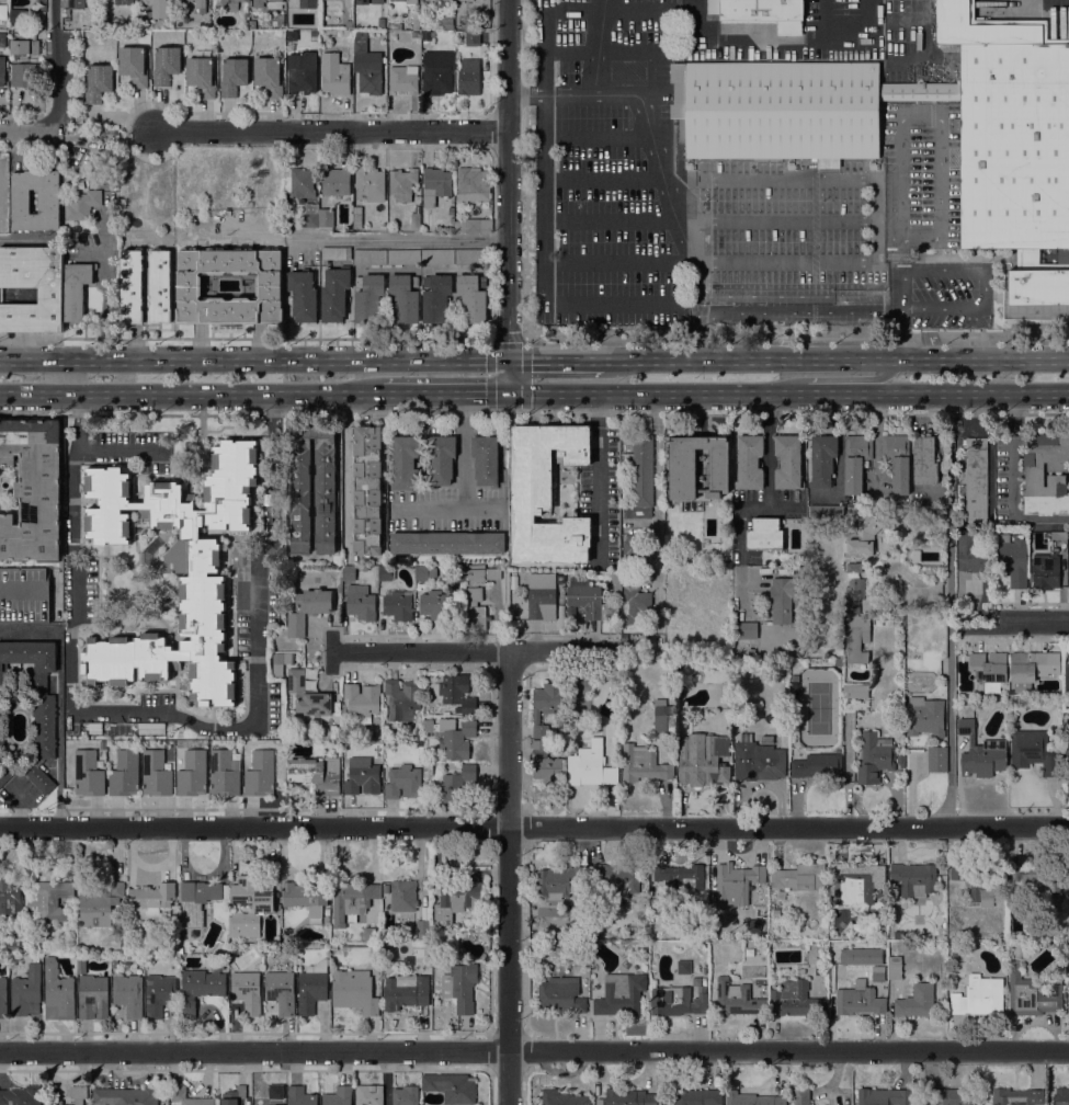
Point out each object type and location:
building: (377, 1)
building: (407, 1)
building: (120, 2)
building: (196, 2)
building: (362, 2)
building: (268, 3)
building: (307, 3)
building: (442, 3)
building: (76, 4)
building: (228, 4)
building: (157, 9)
building: (764, 13)
building: (3, 15)
building: (18, 16)
building: (67, 18)
building: (281, 19)
building: (382, 22)
building: (446, 22)
building: (473, 22)
building: (349, 23)
building: (251, 24)
building: (414, 24)
building: (169, 25)
building: (452, 33)
building: (414, 34)
building: (473, 37)
building: (2, 39)
road: (598, 45)
building: (24, 46)
building: (361, 46)
building: (166, 65)
building: (134, 66)
road: (56, 67)
building: (2, 70)
building: (302, 72)
building: (439, 73)
building: (23, 75)
building: (336, 75)
building: (201, 76)
building: (234, 76)
building: (269, 77)
building: (469, 77)
building: (371, 79)
building: (403, 79)
building: (99, 82)
road: (520, 92)
road: (903, 117)
road: (331, 132)
road: (27, 133)
building: (115, 143)
building: (782, 145)
road: (656, 147)
building: (336, 181)
building: (300, 182)
building: (369, 184)
building: (401, 184)
building: (473, 184)
building: (435, 185)
building: (2, 190)
road: (507, 195)
building: (48, 201)
building: (82, 205)
building: (451, 210)
building: (310, 215)
building: (326, 217)
building: (357, 217)
building: (416, 221)
building: (3, 226)
building: (474, 226)
road: (403, 239)
road: (109, 248)
building: (336, 253)
building: (369, 257)
building: (403, 257)
building: (437, 257)
building: (468, 257)
road: (856, 262)
road: (544, 264)
building: (258, 285)
building: (146, 286)
building: (201, 286)
road: (983, 287)
building: (77, 289)
building: (334, 294)
building: (50, 296)
building: (303, 296)
building: (368, 297)
building: (405, 297)
building: (435, 297)
building: (473, 297)
road: (689, 297)
road: (697, 306)
road: (798, 311)
road: (697, 335)
road: (899, 335)
road: (244, 338)
road: (507, 338)
road: (796, 338)
traffic signals: (508, 360)
road: (556, 360)
road: (835, 360)
road: (253, 361)
road: (864, 377)
road: (948, 391)
traffic signals: (509, 392)
road: (657, 392)
road: (818, 392)
road: (192, 394)
road: (446, 394)
road: (534, 412)
road: (123, 449)
building: (442, 459)
building: (486, 459)
building: (823, 459)
building: (856, 460)
building: (898, 460)
building: (924, 460)
building: (406, 463)
building: (749, 463)
building: (788, 463)
building: (698, 467)
road: (343, 468)
road: (599, 474)
building: (641, 477)
building: (976, 478)
road: (1012, 479)
building: (1034, 480)
road: (460, 483)
road: (770, 488)
building: (32, 490)
building: (302, 490)
building: (367, 490)
building: (547, 494)
road: (656, 497)
road: (949, 498)
road: (780, 504)
road: (481, 511)
building: (827, 511)
building: (1051, 532)
building: (765, 534)
building: (864, 536)
building: (447, 543)
building: (635, 548)
building: (970, 552)
building: (1013, 560)
building: (507, 568)
building: (803, 570)
building: (177, 571)
building: (1046, 571)
building: (386, 572)
building: (349, 573)
building: (422, 573)
building: (615, 582)
building: (455, 586)
building: (854, 588)
building: (523, 590)
building: (477, 594)
building: (24, 595)
building: (542, 596)
building: (584, 597)
building: (785, 597)
building: (636, 599)
building: (361, 603)
building: (398, 604)
building: (435, 604)
building: (308, 608)
building: (799, 613)
building: (610, 614)
road: (1015, 620)
building: (747, 630)
building: (857, 638)
road: (421, 654)
road: (568, 654)
building: (282, 658)
building: (839, 662)
building: (990, 665)
building: (1033, 667)
building: (1067, 677)
building: (595, 690)
building: (456, 692)
building: (856, 692)
building: (308, 695)
building: (402, 697)
building: (363, 699)
building: (546, 705)
road: (92, 711)
building: (925, 717)
building: (664, 719)
road: (951, 725)
building: (429, 726)
building: (45, 727)
building: (456, 739)
building: (419, 743)
building: (541, 743)
building: (1033, 751)
building: (981, 752)
building: (1067, 753)
building: (876, 757)
building: (900, 759)
building: (935, 759)
building: (704, 760)
building: (759, 761)
building: (644, 764)
building: (591, 765)
building: (819, 766)
building: (428, 767)
building: (548, 770)
building: (125, 773)
building: (225, 773)
building: (260, 773)
building: (89, 774)
building: (156, 774)
building: (193, 774)
building: (317, 774)
building: (363, 777)
building: (403, 782)
building: (456, 783)
road: (534, 829)
building: (800, 876)
building: (680, 877)
building: (1032, 878)
road: (511, 879)
building: (617, 879)
building: (914, 879)
building: (980, 880)
building: (559, 881)
building: (856, 882)
building: (736, 884)
building: (1068, 886)
building: (253, 893)
building: (403, 896)
building: (10, 897)
building: (152, 897)
building: (306, 899)
building: (458, 899)
building: (49, 900)
building: (351, 900)
building: (197, 901)
building: (100, 904)
building: (327, 911)
building: (327, 921)
building: (246, 925)
building: (578, 927)
building: (423, 930)
building: (372, 934)
building: (900, 935)
building: (484, 936)
building: (14, 945)
building: (333, 946)
building: (123, 950)
building: (435, 952)
building: (956, 955)
building: (860, 956)
building: (408, 960)
building: (81, 965)
building: (683, 966)
building: (894, 967)
building: (801, 970)
building: (311, 987)
building: (460, 987)
building: (200, 988)
building: (353, 990)
building: (247, 991)
building: (281, 991)
building: (406, 991)
building: (26, 992)
building: (58, 993)
building: (129, 994)
building: (159, 994)
building: (560, 994)
building: (621, 994)
building: (1033, 995)
building: (2, 996)
building: (93, 996)
building: (978, 996)
building: (737, 999)
building: (793, 999)
building: (857, 1000)
building: (675, 1001)
building: (916, 1001)
building: (1068, 1005)
road: (534, 1051)
building: (452, 1087)
building: (275, 1092)
building: (79, 1094)
building: (368, 1095)
building: (405, 1095)
building: (21, 1096)
building: (125, 1096)
building: (234, 1096)
building: (300, 1096)
building: (339, 1096)
building: (801, 1096)
building: (884, 1096)
building: (947, 1096)
building: (1016, 1096)
building: (1061, 1096)
building: (185, 1097)
building: (564, 1097)
building: (627, 1097)
building: (697, 1097)
building: (751, 1098)
building: (54, 1103)

